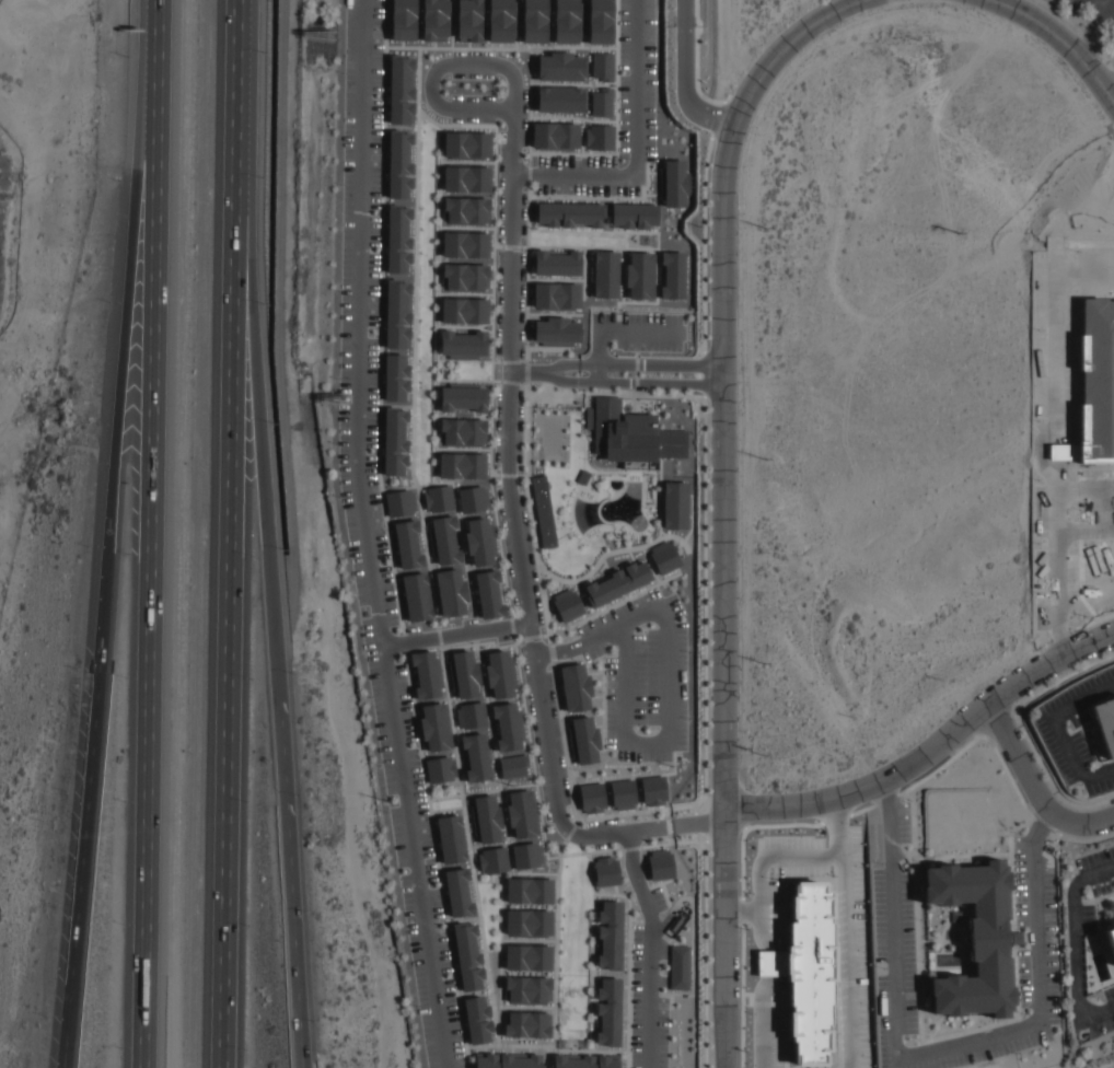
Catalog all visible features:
road: (1109, 4)
parking lot: (1095, 5)
building: (404, 20)
building: (436, 20)
building: (469, 20)
building: (502, 21)
building: (535, 21)
building: (566, 21)
building: (601, 21)
road: (1094, 31)
road: (1063, 40)
road: (781, 49)
road: (712, 56)
road: (153, 57)
building: (562, 65)
building: (603, 65)
road: (242, 67)
road: (436, 70)
parking lot: (636, 77)
road: (636, 78)
road: (682, 78)
building: (403, 89)
road: (1112, 96)
building: (558, 100)
building: (604, 102)
building: (556, 133)
building: (603, 137)
road: (514, 139)
building: (466, 141)
building: (402, 163)
road: (635, 166)
parking lot: (582, 176)
road: (582, 176)
building: (466, 177)
building: (675, 183)
building: (465, 209)
building: (569, 213)
building: (633, 213)
building: (398, 239)
building: (466, 243)
building: (557, 262)
road: (512, 263)
building: (638, 272)
building: (605, 274)
building: (464, 275)
building: (672, 275)
building: (558, 294)
building: (465, 310)
building: (398, 314)
building: (558, 329)
parking lot: (639, 330)
road: (639, 332)
road: (254, 343)
building: (462, 343)
road: (597, 356)
road: (531, 371)
road: (554, 372)
building: (396, 376)
building: (1091, 386)
building: (464, 398)
building: (463, 431)
building: (631, 434)
park: (552, 437)
building: (396, 441)
building: (463, 465)
building: (473, 497)
building: (439, 499)
building: (403, 502)
road: (648, 503)
building: (675, 504)
building: (543, 511)
road: (597, 512)
road: (724, 516)
parking lot: (382, 529)
road: (364, 536)
building: (480, 539)
building: (444, 541)
building: (408, 543)
building: (664, 556)
building: (618, 583)
road: (111, 591)
road: (147, 591)
building: (451, 591)
building: (489, 593)
building: (418, 596)
road: (230, 601)
building: (567, 604)
road: (455, 634)
road: (558, 652)
road: (534, 654)
building: (464, 672)
building: (426, 674)
building: (502, 674)
parking lot: (642, 675)
building: (576, 686)
road: (664, 708)
building: (472, 715)
building: (1105, 724)
building: (436, 725)
building: (508, 725)
road: (1061, 727)
parking lot: (1076, 732)
building: (582, 739)
road: (930, 748)
building: (475, 756)
building: (513, 766)
building: (441, 769)
road: (1033, 786)
building: (652, 790)
building: (624, 792)
road: (887, 792)
building: (592, 797)
road: (288, 806)
building: (522, 813)
road: (836, 813)
building: (486, 816)
road: (698, 821)
road: (1037, 833)
building: (451, 838)
building: (526, 855)
road: (763, 856)
building: (492, 860)
building: (661, 864)
building: (606, 870)
parking lot: (780, 873)
parking lot: (1095, 884)
road: (1075, 887)
building: (529, 890)
building: (459, 892)
road: (740, 908)
parking lot: (895, 917)
building: (529, 920)
building: (610, 933)
building: (1111, 934)
parking lot: (1037, 936)
building: (975, 939)
road: (652, 947)
road: (843, 948)
parking lot: (850, 949)
building: (468, 954)
building: (527, 955)
road: (766, 962)
building: (678, 966)
building: (809, 974)
road: (1077, 980)
parking lot: (648, 983)
building: (527, 988)
road: (722, 988)
building: (607, 1009)
road: (1105, 1011)
parking lot: (1104, 1015)
building: (478, 1018)
building: (529, 1023)
road: (761, 1031)
parking lot: (767, 1031)
road: (925, 1053)
building: (509, 1060)
building: (587, 1060)
road: (303, 1066)
road: (303, 1066)

